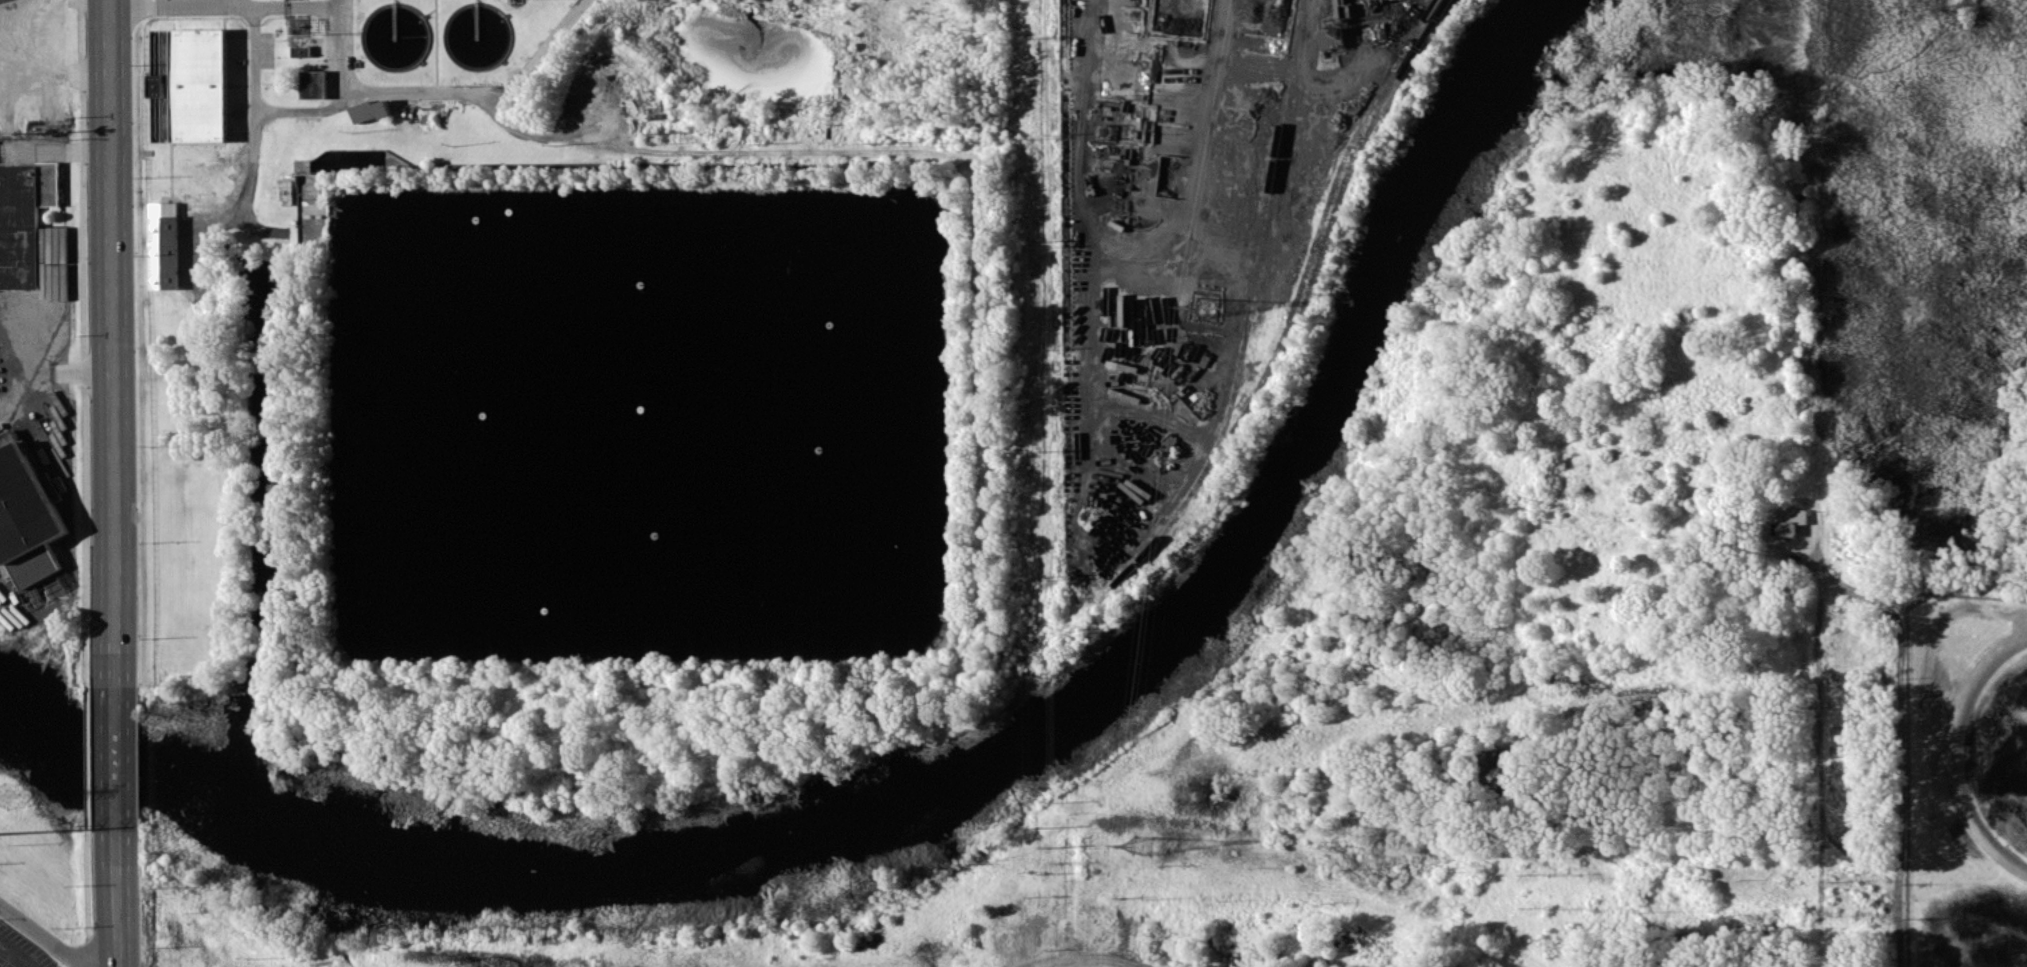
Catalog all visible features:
road: (228, 3)
road: (342, 3)
road: (515, 6)
road: (22, 28)
road: (239, 34)
building: (1330, 37)
road: (435, 44)
building: (300, 51)
road: (54, 68)
road: (343, 70)
building: (311, 83)
building: (186, 85)
building: (367, 109)
road: (305, 110)
road: (56, 150)
road: (254, 164)
road: (170, 171)
railway: (1326, 204)
building: (21, 216)
building: (161, 244)
railway: (1322, 246)
power tower: (1202, 309)
railway: (1246, 327)
road: (112, 341)
road: (54, 372)
road: (977, 392)
wastewater plant: (585, 400)
building: (1789, 521)
building: (24, 524)
river: (18, 717)
road: (116, 756)
road: (1960, 756)
road: (1817, 773)
river: (981, 778)
power tower: (8, 796)
road: (119, 898)
road: (40, 937)
parking lot: (19, 952)
road: (17, 954)
road: (1085, 958)

